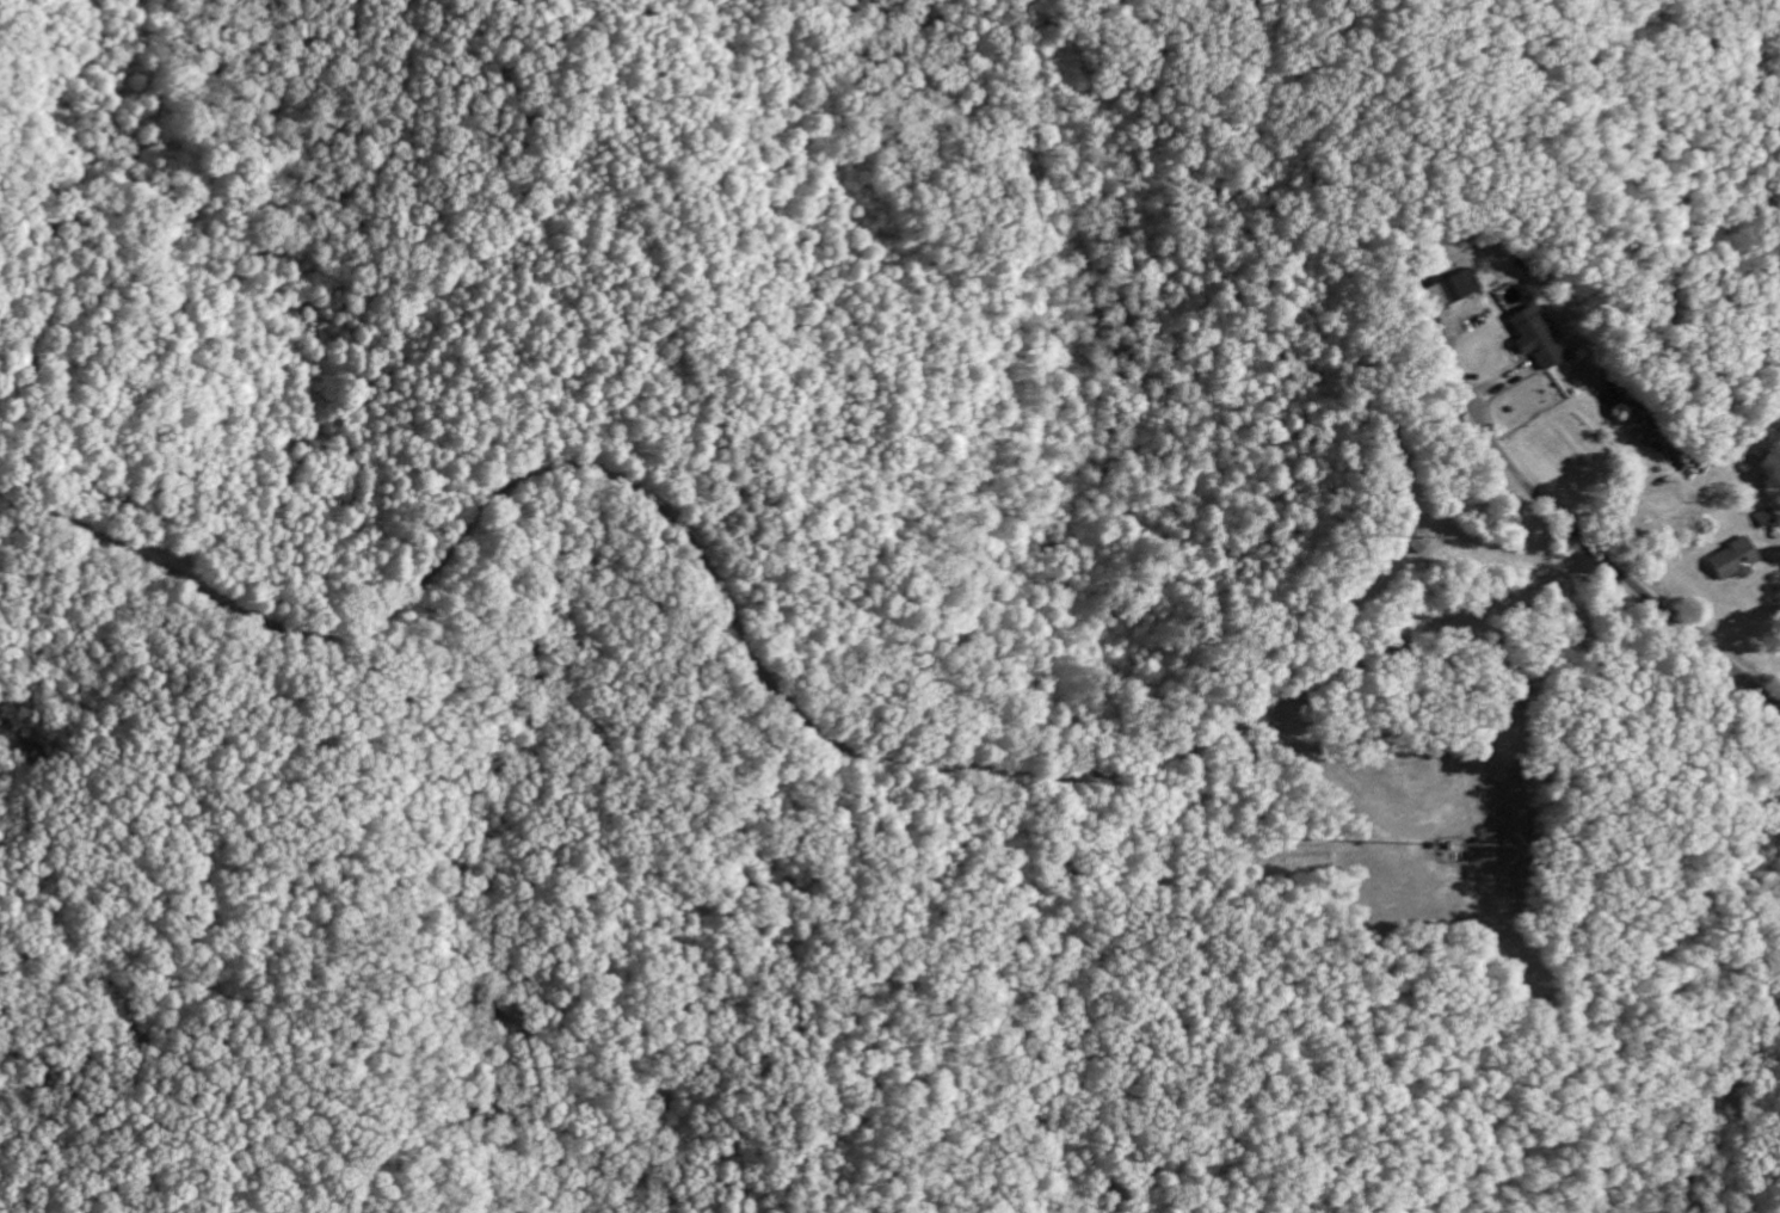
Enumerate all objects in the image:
building: (1456, 288)
building: (1532, 340)
road: (1597, 552)
building: (1731, 562)
road: (1322, 681)

